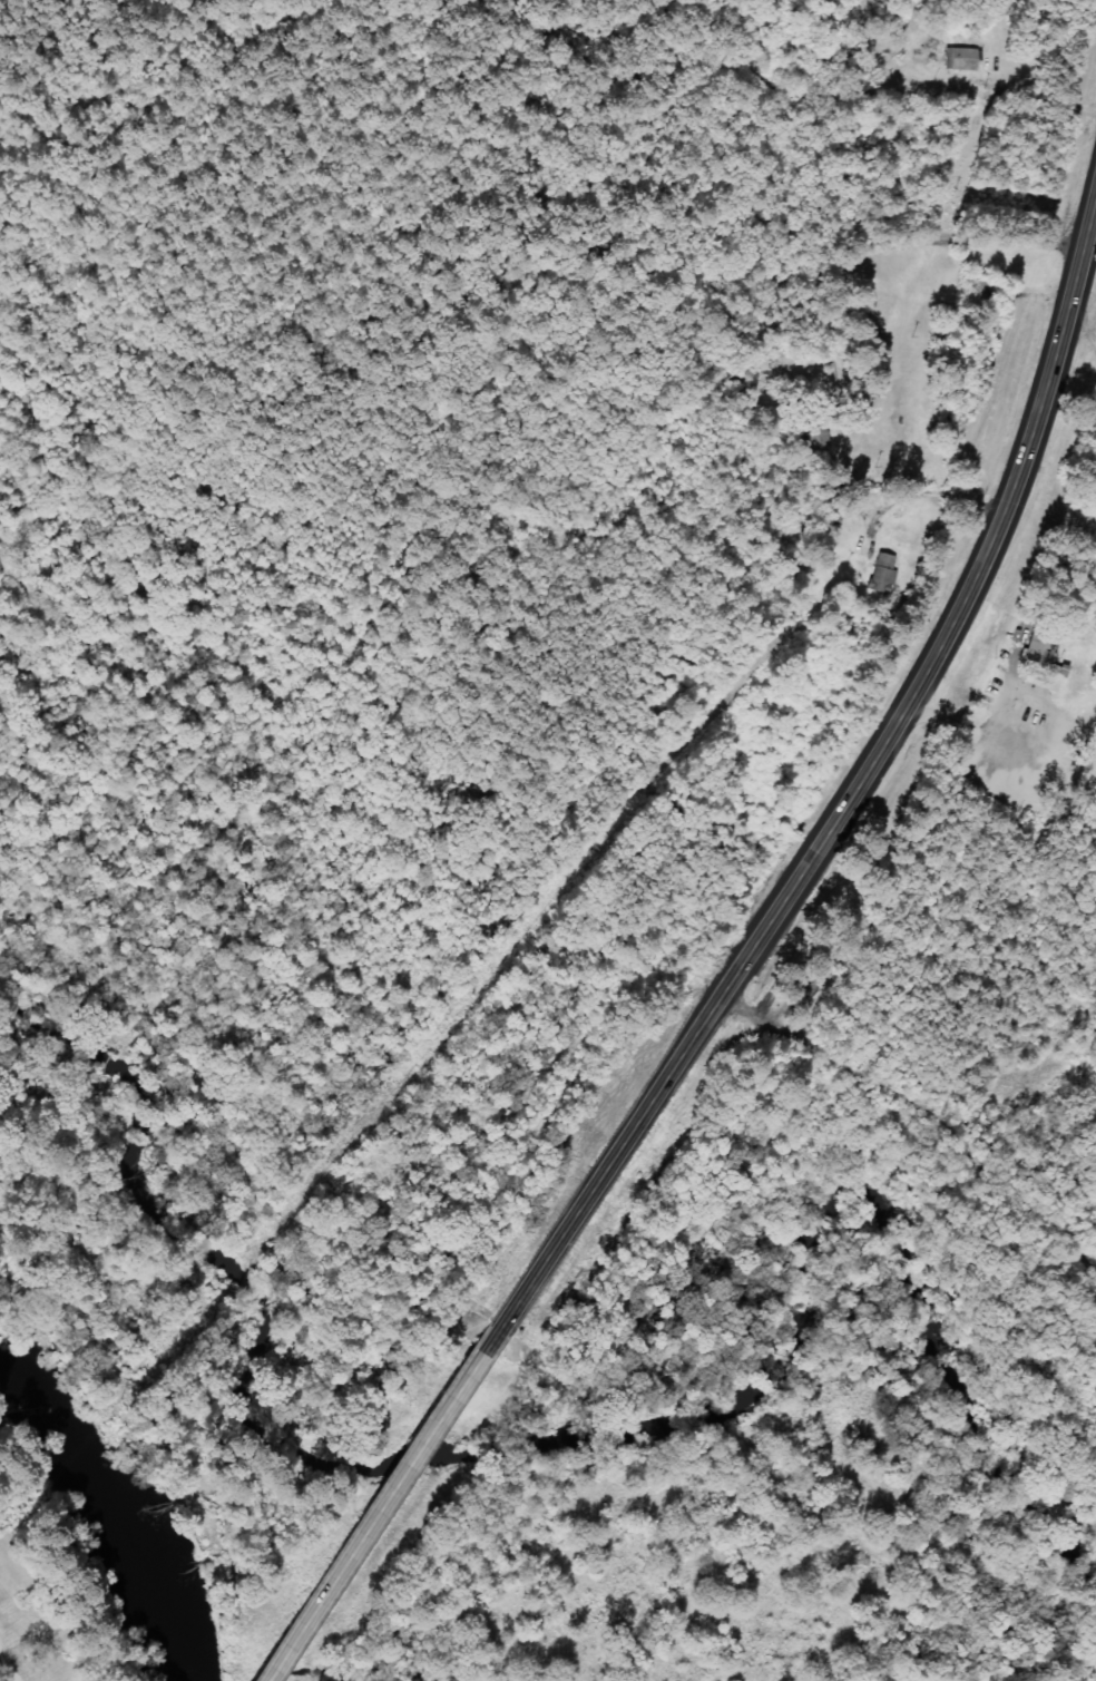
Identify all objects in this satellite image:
building: (965, 58)
road: (1065, 473)
building: (882, 571)
building: (1041, 665)
road: (840, 810)
road: (926, 1104)
road: (372, 1517)
road: (7, 1667)

